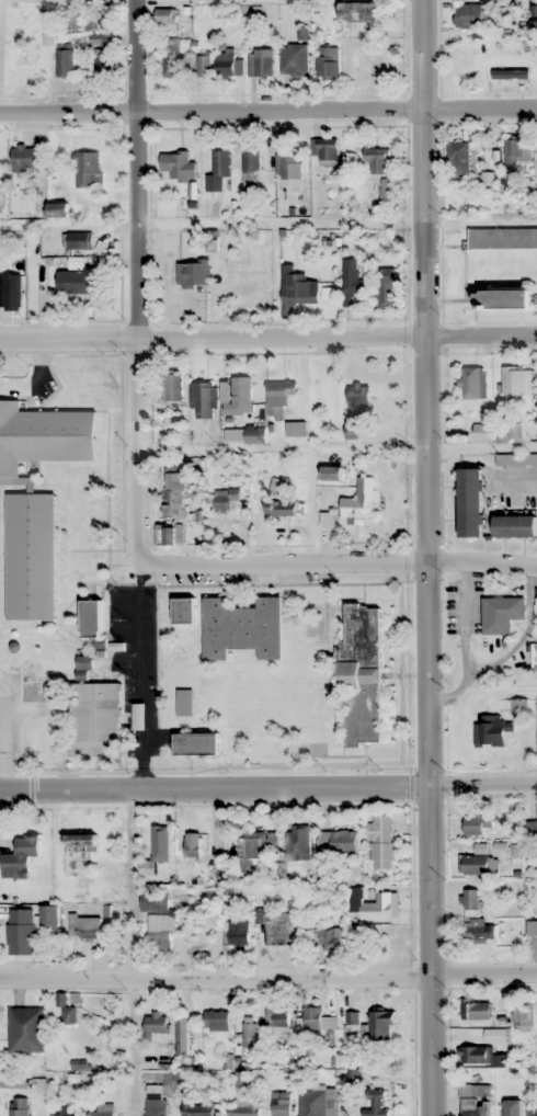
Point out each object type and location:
building: (359, 11)
building: (468, 15)
building: (99, 16)
building: (72, 19)
building: (165, 19)
building: (101, 39)
building: (15, 50)
building: (170, 57)
building: (294, 59)
building: (65, 61)
building: (261, 61)
building: (327, 61)
building: (228, 62)
building: (103, 64)
building: (203, 65)
building: (511, 73)
road: (267, 111)
building: (327, 150)
building: (516, 151)
building: (459, 158)
building: (26, 159)
building: (377, 159)
building: (180, 164)
building: (288, 164)
building: (88, 168)
building: (218, 170)
building: (250, 170)
building: (385, 193)
building: (57, 210)
building: (503, 238)
building: (78, 240)
building: (193, 272)
building: (351, 280)
building: (73, 281)
road: (137, 282)
building: (386, 286)
building: (296, 289)
building: (10, 292)
building: (504, 298)
road: (267, 337)
building: (518, 380)
building: (471, 383)
building: (172, 387)
building: (240, 397)
building: (278, 397)
building: (358, 397)
building: (203, 399)
building: (296, 428)
building: (244, 434)
building: (516, 459)
building: (331, 472)
building: (176, 494)
building: (36, 499)
building: (281, 499)
building: (226, 502)
building: (470, 502)
building: (358, 504)
building: (515, 525)
building: (173, 535)
road: (427, 557)
road: (482, 562)
road: (283, 563)
building: (184, 610)
building: (501, 614)
building: (242, 628)
building: (362, 672)
building: (184, 702)
building: (96, 715)
building: (492, 731)
building: (196, 743)
road: (268, 788)
building: (479, 824)
building: (532, 830)
building: (273, 839)
building: (381, 842)
building: (339, 843)
building: (298, 844)
building: (79, 852)
building: (250, 852)
building: (201, 853)
building: (158, 854)
building: (18, 855)
building: (475, 865)
building: (470, 901)
building: (377, 907)
building: (49, 918)
building: (158, 919)
building: (84, 926)
building: (532, 927)
building: (277, 929)
building: (479, 931)
building: (21, 932)
building: (238, 935)
building: (333, 941)
building: (395, 944)
road: (268, 979)
building: (476, 1010)
building: (523, 1014)
building: (352, 1018)
building: (217, 1021)
building: (278, 1021)
building: (317, 1022)
building: (157, 1023)
building: (381, 1025)
building: (26, 1029)
building: (251, 1030)
building: (494, 1035)
building: (182, 1036)
building: (476, 1055)
building: (312, 1103)
building: (156, 1104)
building: (282, 1104)
building: (377, 1104)
building: (19, 1107)
building: (244, 1107)
building: (473, 1107)
building: (196, 1108)
building: (509, 1109)
building: (103, 1111)
building: (67, 1112)
building: (535, 1114)

